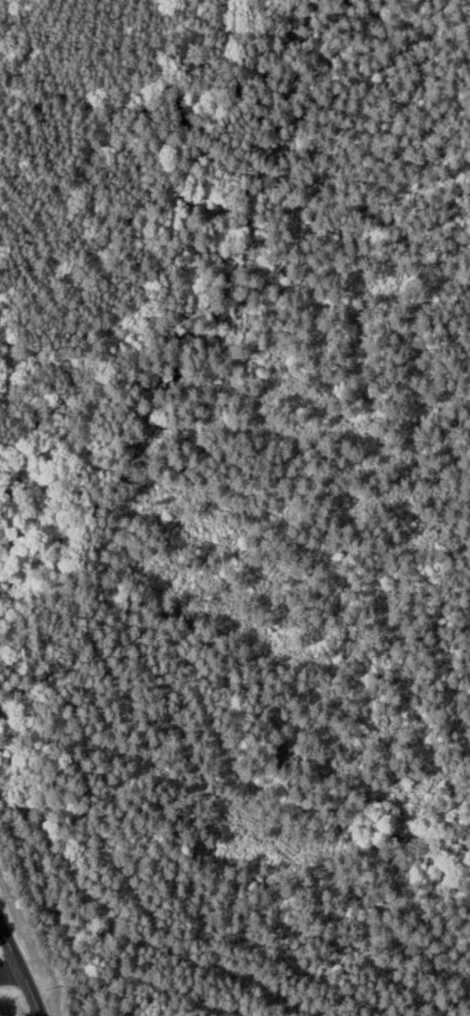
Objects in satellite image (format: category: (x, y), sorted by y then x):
road: (9, 970)
road: (21, 971)

